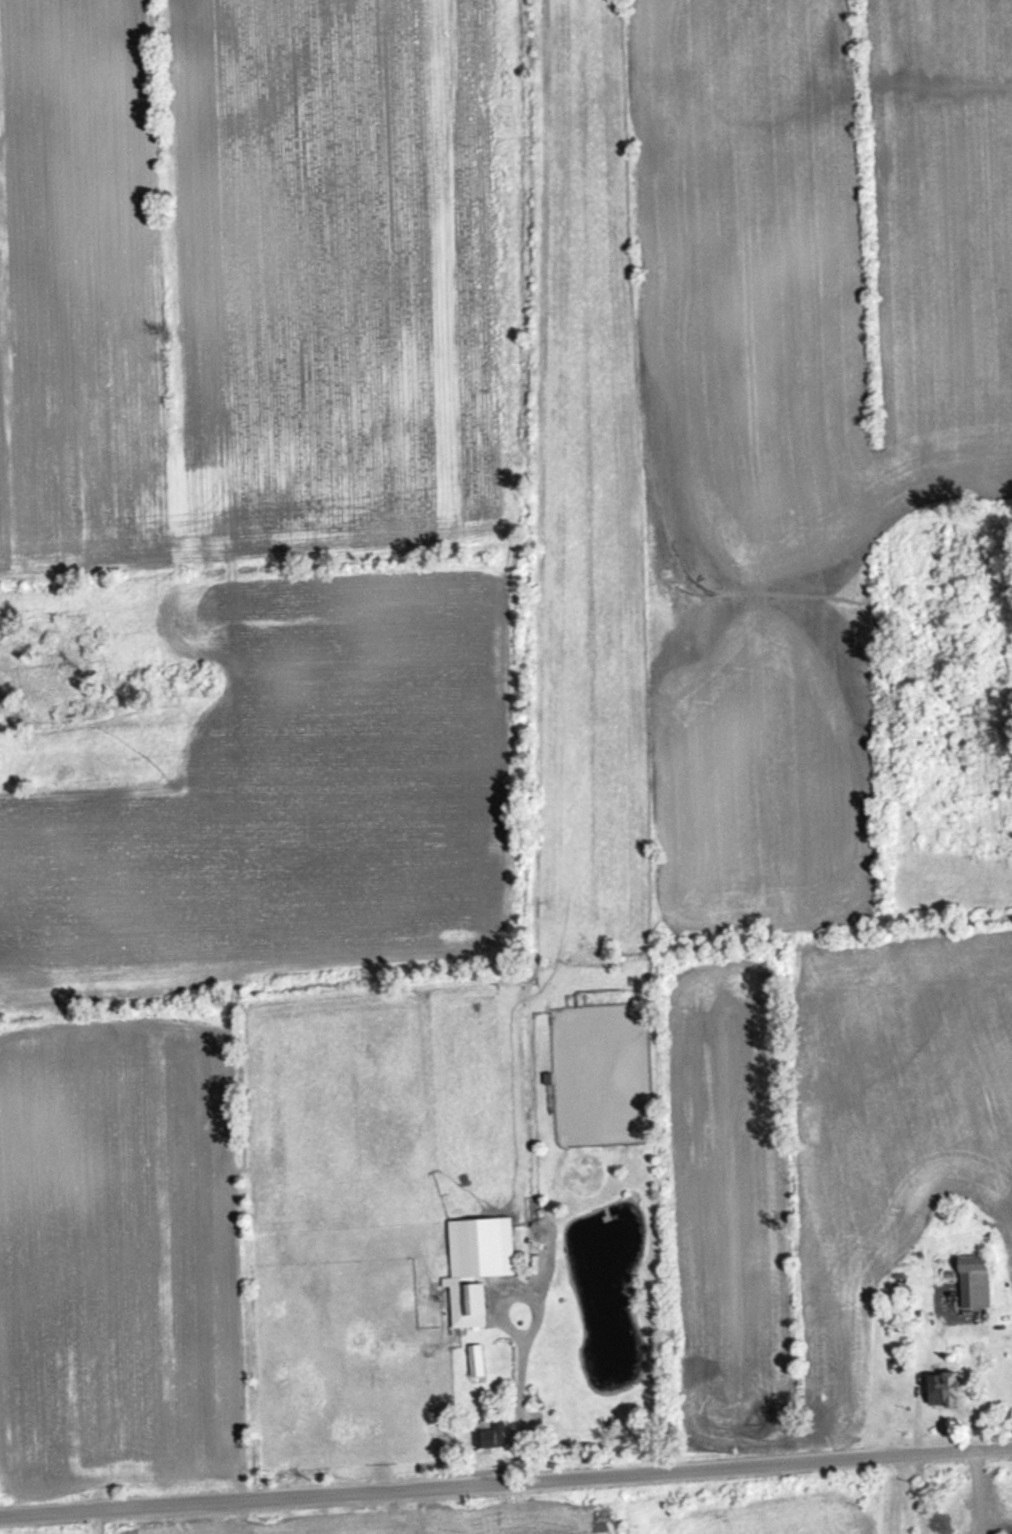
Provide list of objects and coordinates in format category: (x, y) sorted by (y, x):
building: (475, 1264)
building: (975, 1285)
road: (523, 1348)
building: (938, 1392)
building: (490, 1434)
road: (506, 1482)
road: (896, 1493)
road: (104, 1521)

